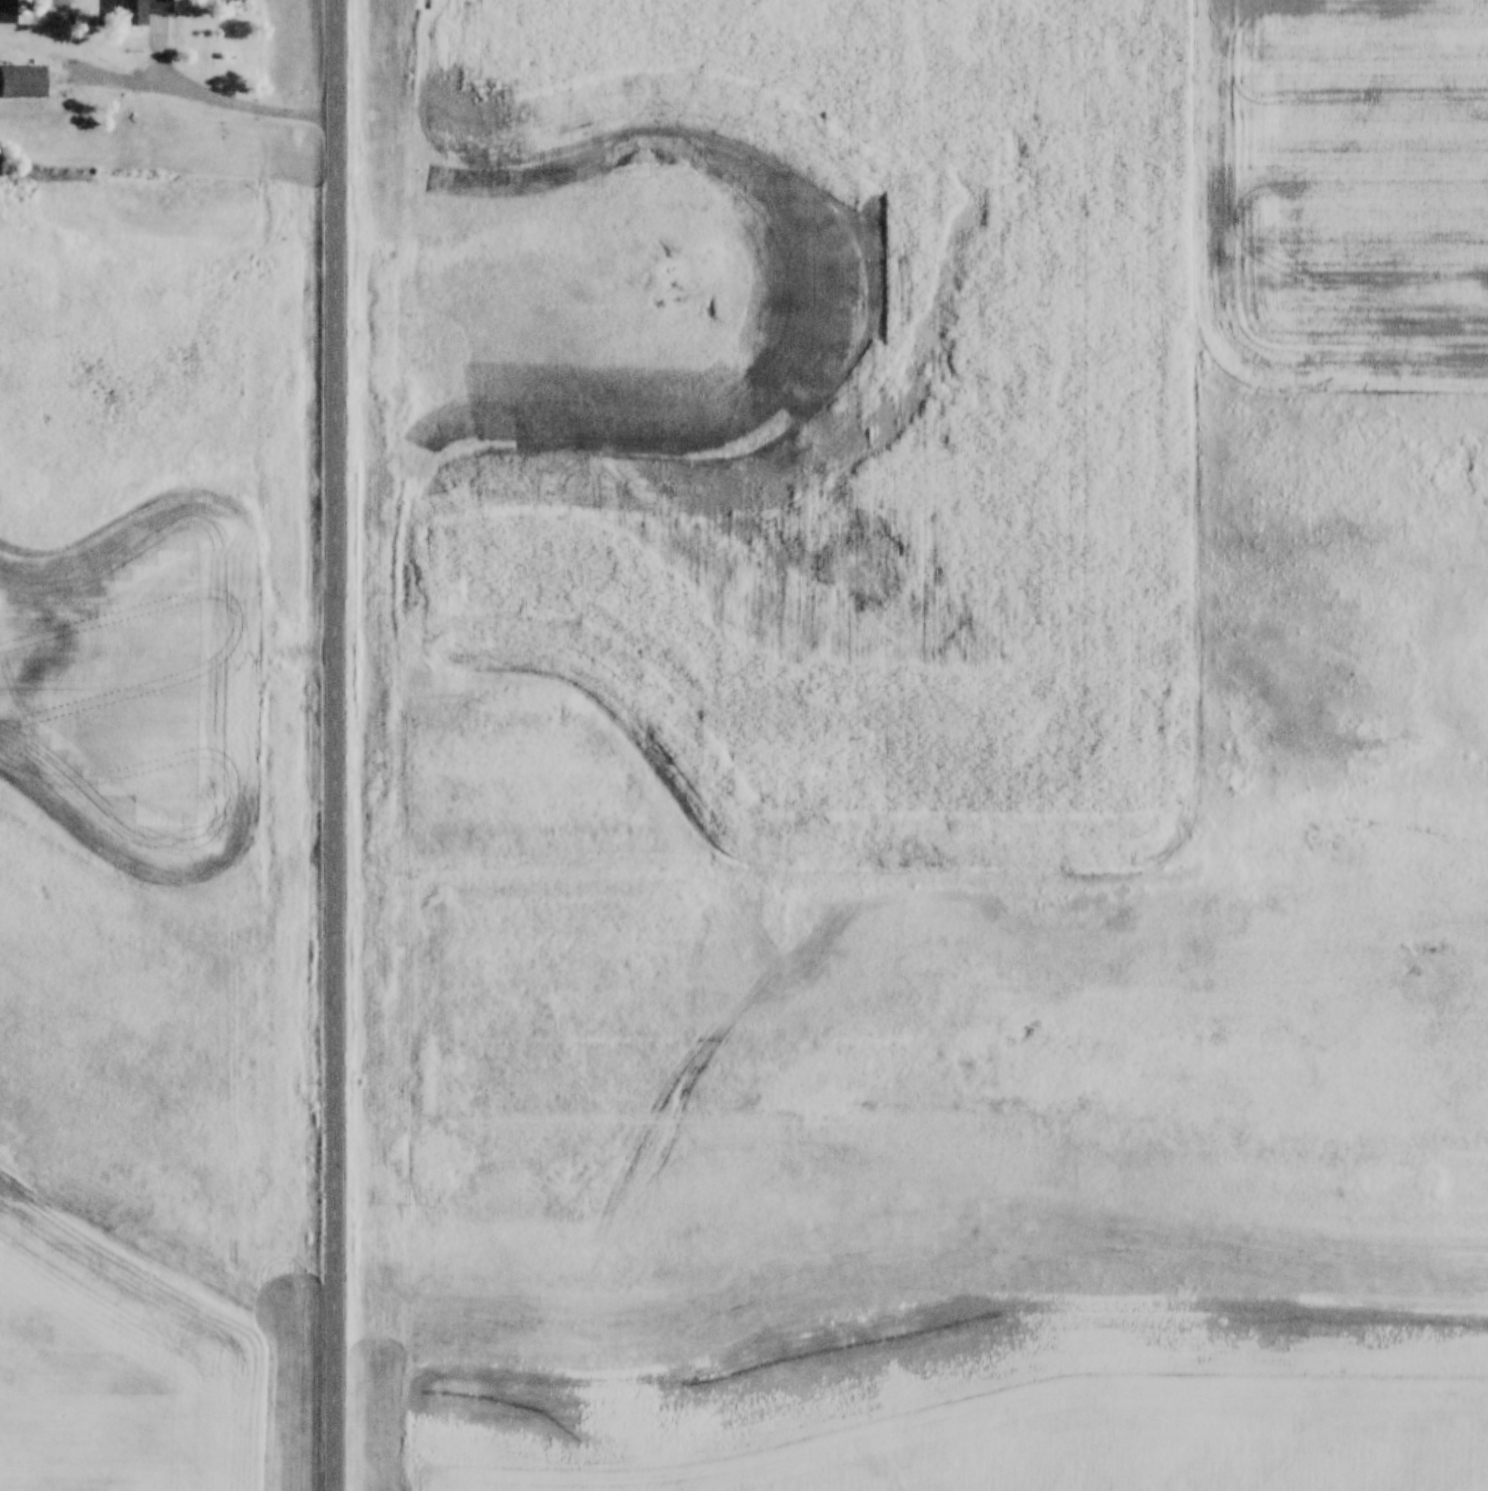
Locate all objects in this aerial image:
building: (134, 11)
building: (11, 12)
building: (21, 82)
road: (196, 91)
road: (334, 745)

